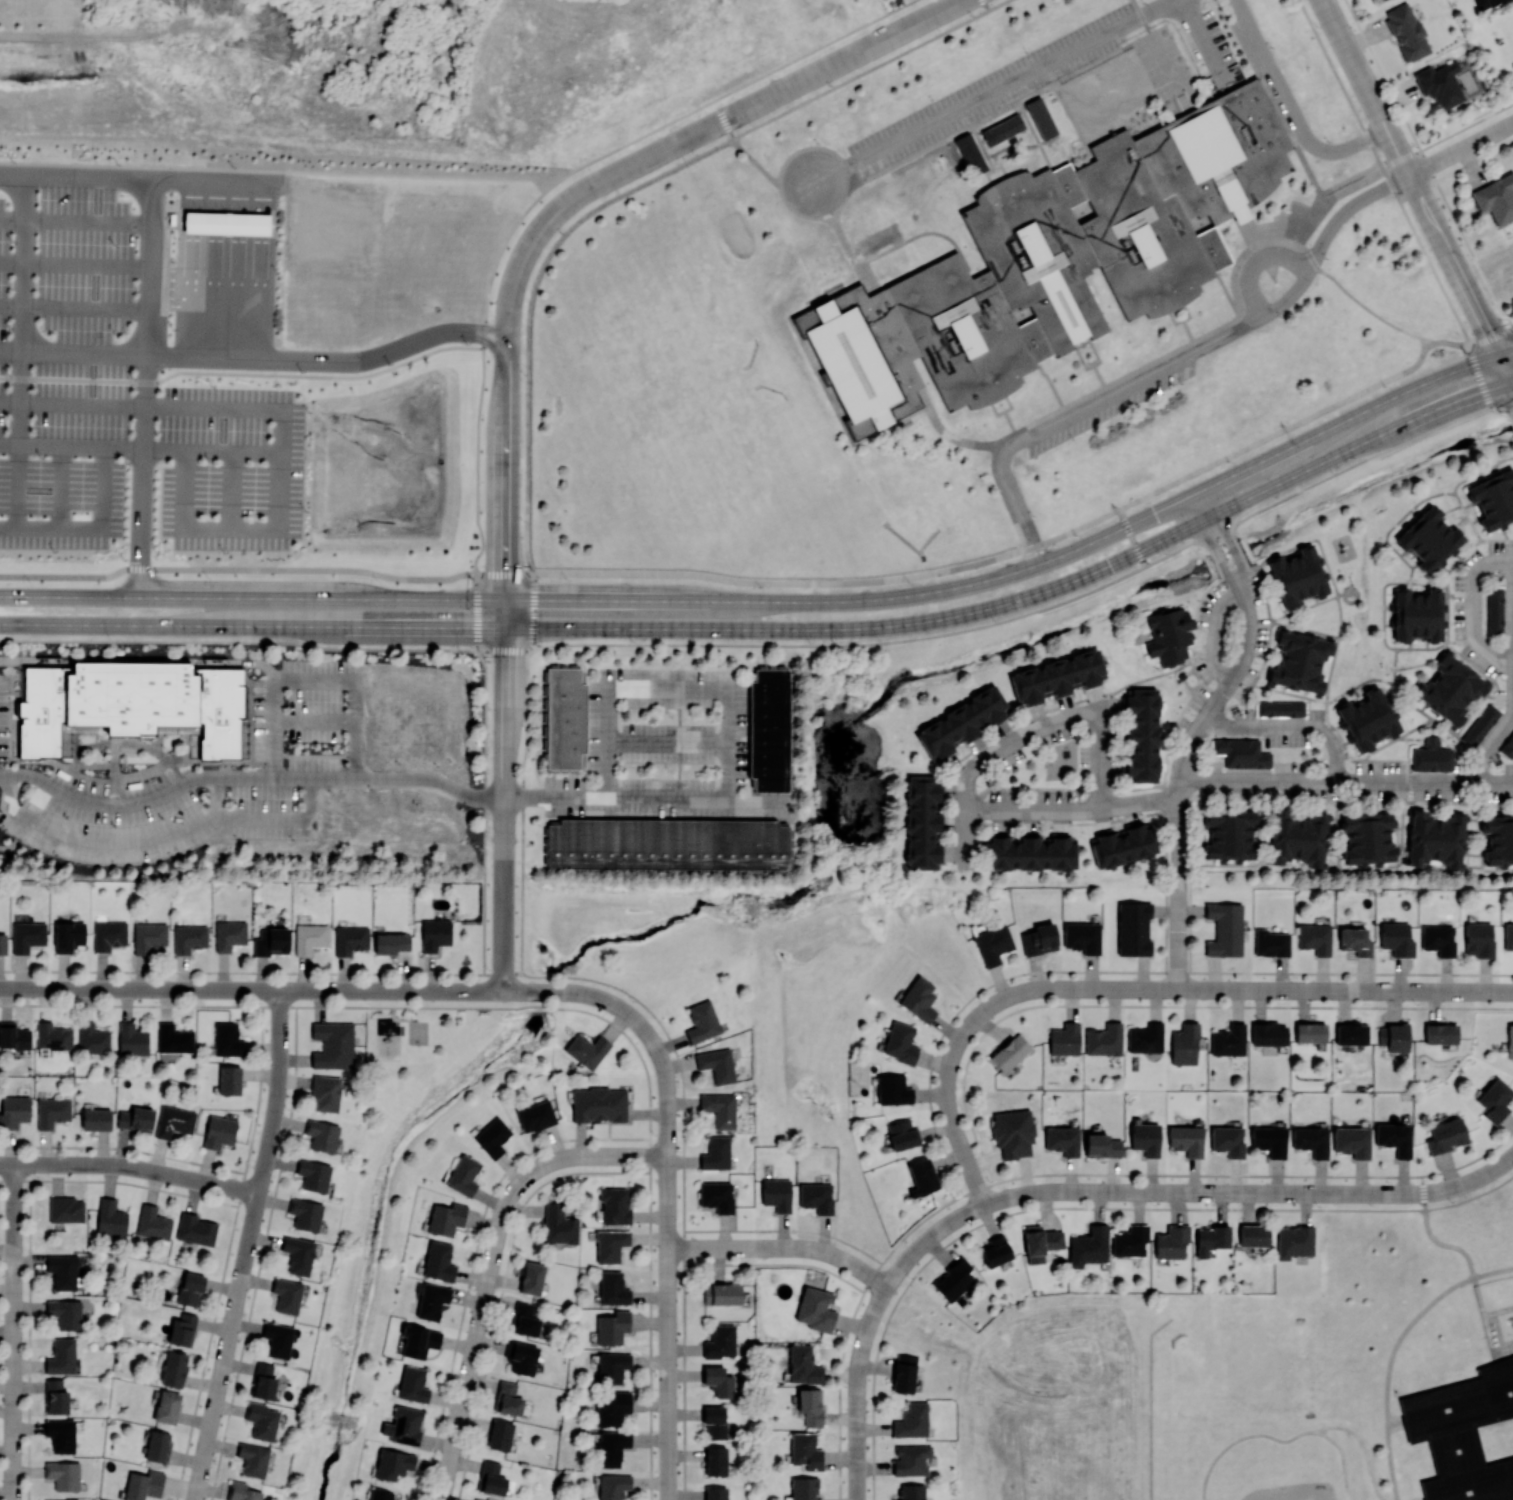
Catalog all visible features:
building: (1377, 0)
building: (1485, 3)
building: (1407, 32)
road: (1202, 35)
park: (42, 39)
crop: (578, 67)
building: (1440, 84)
road: (993, 89)
road: (1290, 109)
building: (1002, 129)
road: (1461, 149)
road: (1411, 178)
road: (152, 188)
road: (578, 194)
building: (1496, 198)
building: (175, 220)
gas station: (227, 222)
road: (76, 223)
building: (227, 223)
road: (1324, 235)
building: (878, 239)
road: (1254, 261)
building: (1057, 263)
road: (75, 265)
road: (1366, 307)
road: (21, 310)
road: (75, 310)
road: (1502, 337)
road: (74, 352)
road: (208, 355)
road: (1506, 355)
traffic signals: (1499, 357)
road: (1506, 370)
road: (325, 377)
road: (73, 380)
road: (1512, 381)
traffic signals: (1512, 382)
road: (73, 402)
road: (1078, 409)
road: (1307, 418)
road: (232, 453)
road: (1269, 458)
road: (1358, 461)
road: (18, 488)
road: (62, 489)
road: (234, 492)
building: (1493, 498)
traffic signals: (1127, 526)
road: (91, 529)
road: (231, 530)
road: (1132, 537)
road: (1230, 538)
building: (1429, 538)
road: (1215, 545)
traffic signals: (1140, 553)
road: (252, 568)
building: (1297, 576)
road: (818, 584)
road: (1030, 597)
road: (252, 598)
traffic signals: (506, 600)
road: (775, 601)
road: (1474, 609)
building: (1494, 610)
building: (1418, 614)
road: (252, 626)
traffic signals: (506, 629)
road: (1215, 633)
building: (1168, 634)
road: (614, 644)
building: (1299, 661)
building: (1058, 676)
road: (317, 681)
road: (665, 684)
building: (1450, 689)
building: (131, 702)
building: (1280, 708)
building: (565, 717)
building: (1368, 719)
road: (318, 721)
building: (962, 722)
building: (1480, 725)
building: (769, 729)
road: (1289, 730)
road: (1025, 735)
building: (1141, 735)
road: (664, 741)
road: (1489, 746)
building: (1507, 747)
building: (1241, 752)
building: (1431, 756)
road: (249, 777)
road: (1180, 781)
road: (1346, 782)
road: (505, 795)
road: (220, 797)
road: (643, 799)
road: (1074, 810)
building: (921, 821)
building: (1229, 834)
road: (164, 837)
building: (1297, 838)
building: (1368, 838)
building: (1435, 839)
building: (1499, 839)
building: (668, 844)
building: (1122, 844)
building: (1028, 851)
road: (671, 871)
building: (1133, 928)
building: (1224, 929)
building: (434, 933)
building: (109, 934)
building: (229, 934)
building: (27, 935)
building: (67, 936)
building: (149, 936)
building: (1081, 936)
building: (1508, 936)
building: (189, 937)
building: (310, 937)
building: (1315, 937)
building: (1396, 938)
building: (350, 939)
building: (1038, 939)
building: (1438, 939)
building: (1478, 939)
building: (1354, 940)
building: (271, 941)
building: (391, 942)
building: (1270, 942)
building: (3, 943)
building: (992, 944)
road: (1140, 988)
road: (251, 989)
building: (918, 998)
building: (702, 1021)
park: (418, 1032)
building: (1268, 1033)
building: (1310, 1033)
building: (1352, 1033)
building: (1441, 1033)
building: (13, 1036)
building: (52, 1036)
building: (1394, 1037)
building: (92, 1038)
building: (173, 1038)
building: (1064, 1038)
building: (1145, 1038)
building: (132, 1039)
building: (228, 1039)
building: (1104, 1039)
building: (1229, 1040)
park: (399, 1041)
building: (1510, 1041)
building: (900, 1042)
building: (1184, 1043)
building: (333, 1044)
building: (586, 1049)
building: (1009, 1052)
building: (717, 1064)
building: (229, 1080)
building: (893, 1089)
building: (325, 1092)
building: (1495, 1100)
building: (598, 1104)
building: (720, 1109)
building: (13, 1110)
building: (52, 1111)
building: (535, 1115)
building: (136, 1118)
building: (96, 1119)
building: (174, 1121)
building: (218, 1131)
building: (1012, 1132)
building: (322, 1134)
building: (902, 1134)
building: (1445, 1135)
building: (492, 1137)
building: (1394, 1137)
building: (1146, 1138)
building: (1186, 1139)
building: (1062, 1140)
building: (1227, 1140)
building: (1269, 1140)
building: (1311, 1140)
building: (1352, 1141)
building: (1101, 1145)
building: (715, 1153)
road: (130, 1166)
building: (314, 1174)
building: (463, 1174)
building: (921, 1177)
road: (668, 1186)
road: (1188, 1192)
building: (777, 1194)
building: (716, 1196)
building: (816, 1197)
building: (614, 1205)
building: (65, 1209)
building: (306, 1213)
building: (110, 1217)
building: (446, 1218)
building: (153, 1222)
building: (559, 1224)
building: (195, 1229)
building: (1254, 1235)
building: (1211, 1238)
road: (1432, 1238)
building: (1130, 1240)
building: (1171, 1241)
building: (1294, 1241)
building: (1040, 1242)
building: (610, 1244)
road: (247, 1246)
building: (1088, 1246)
road: (782, 1247)
building: (995, 1251)
building: (299, 1254)
road: (474, 1257)
building: (438, 1260)
road: (491, 1263)
building: (62, 1270)
building: (532, 1277)
building: (954, 1279)
road: (503, 1284)
building: (190, 1288)
building: (613, 1288)
building: (721, 1293)
building: (286, 1295)
building: (431, 1300)
building: (815, 1309)
building: (65, 1313)
building: (524, 1319)
building: (612, 1327)
building: (182, 1329)
road: (13, 1331)
building: (277, 1339)
building: (418, 1340)
building: (719, 1341)
road: (1393, 1350)
building: (61, 1356)
building: (521, 1357)
building: (803, 1365)
building: (613, 1367)
building: (173, 1368)
building: (904, 1372)
building: (718, 1380)
building: (263, 1381)
building: (413, 1384)
road: (857, 1390)
park: (1044, 1393)
building: (55, 1396)
building: (507, 1398)
building: (166, 1406)
building: (809, 1406)
building: (613, 1408)
building: (261, 1420)
building: (911, 1420)
building: (714, 1421)
building: (404, 1425)
building: (60, 1434)
building: (1467, 1434)
building: (500, 1435)
road: (1282, 1442)
building: (156, 1446)
building: (612, 1446)
road: (1364, 1447)
building: (805, 1450)
building: (253, 1458)
building: (910, 1459)
building: (716, 1460)
building: (393, 1463)
building: (63, 1474)
building: (491, 1477)
building: (143, 1485)
building: (613, 1485)
building: (803, 1489)
building: (242, 1491)
building: (911, 1491)
park: (1291, 1491)
building: (715, 1493)
building: (380, 1494)
building: (55, 1499)
building: (477, 1499)

